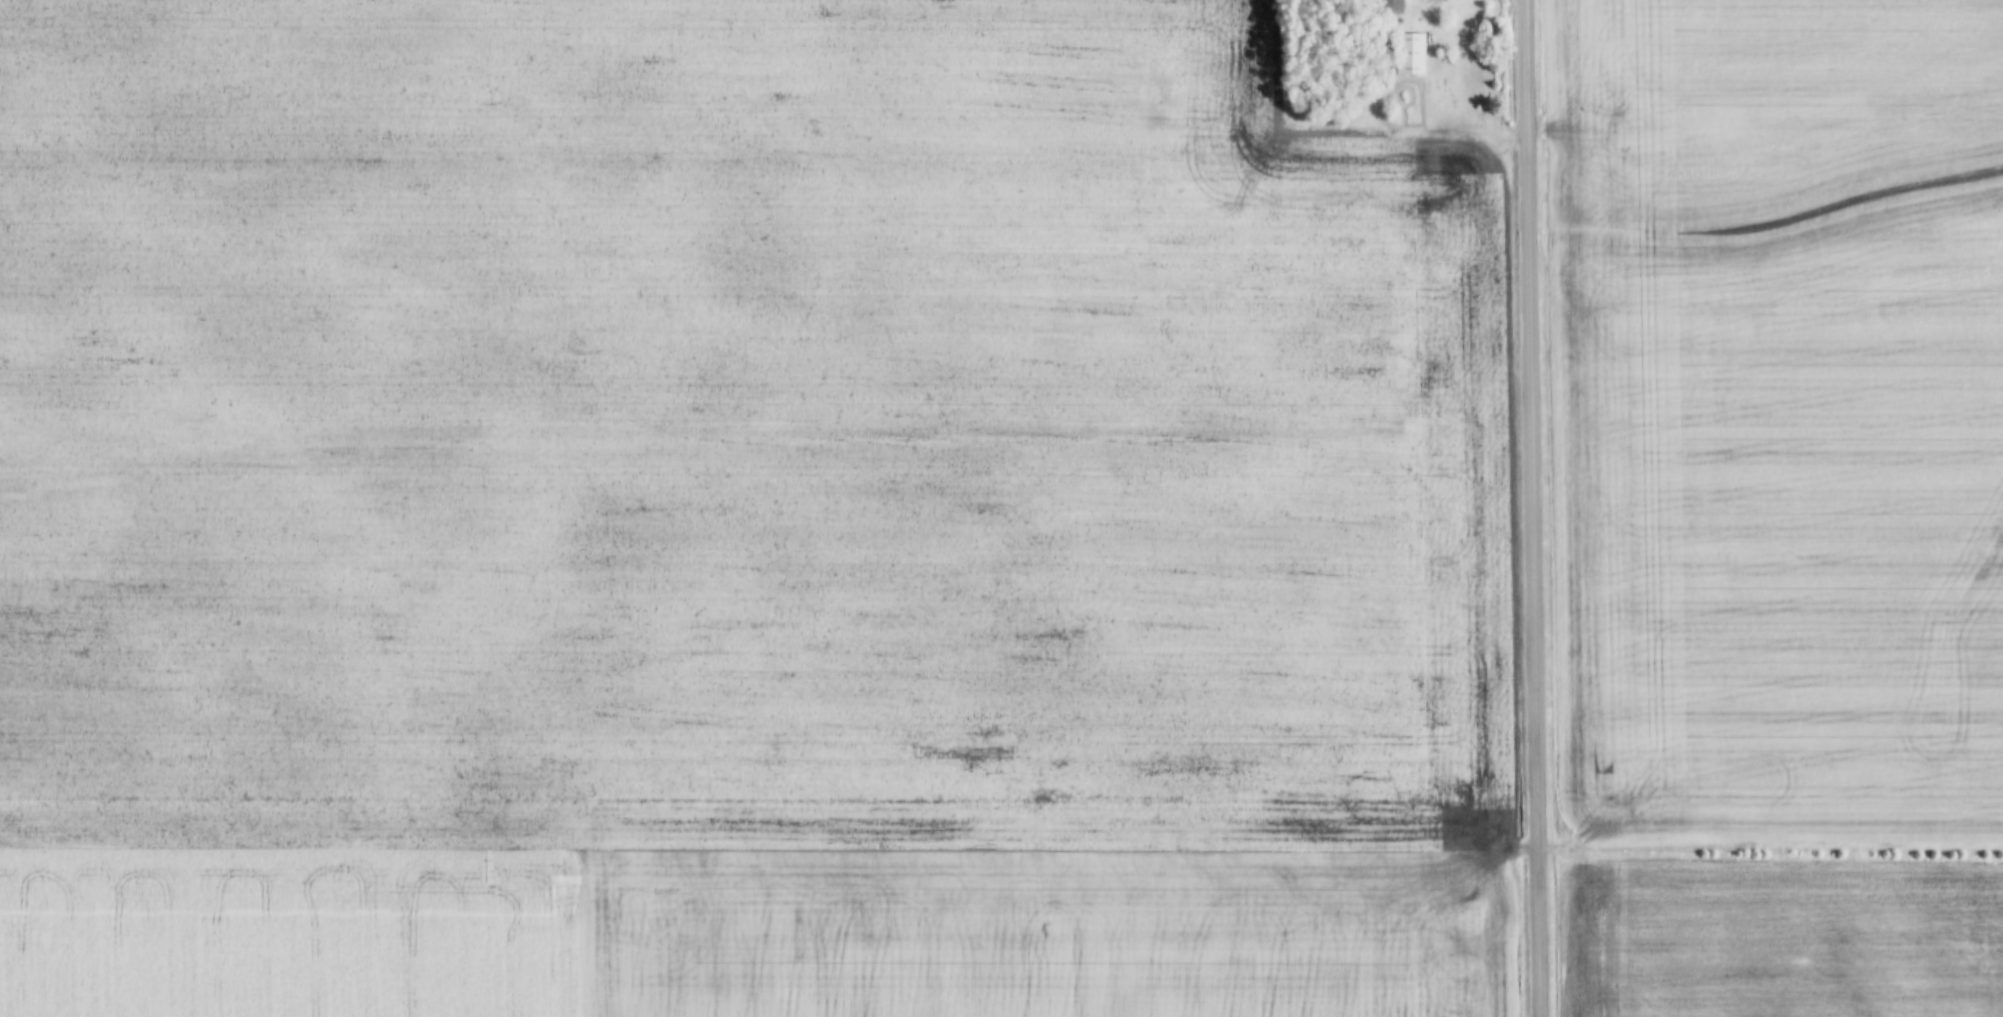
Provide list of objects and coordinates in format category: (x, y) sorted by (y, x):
road: (1531, 508)

